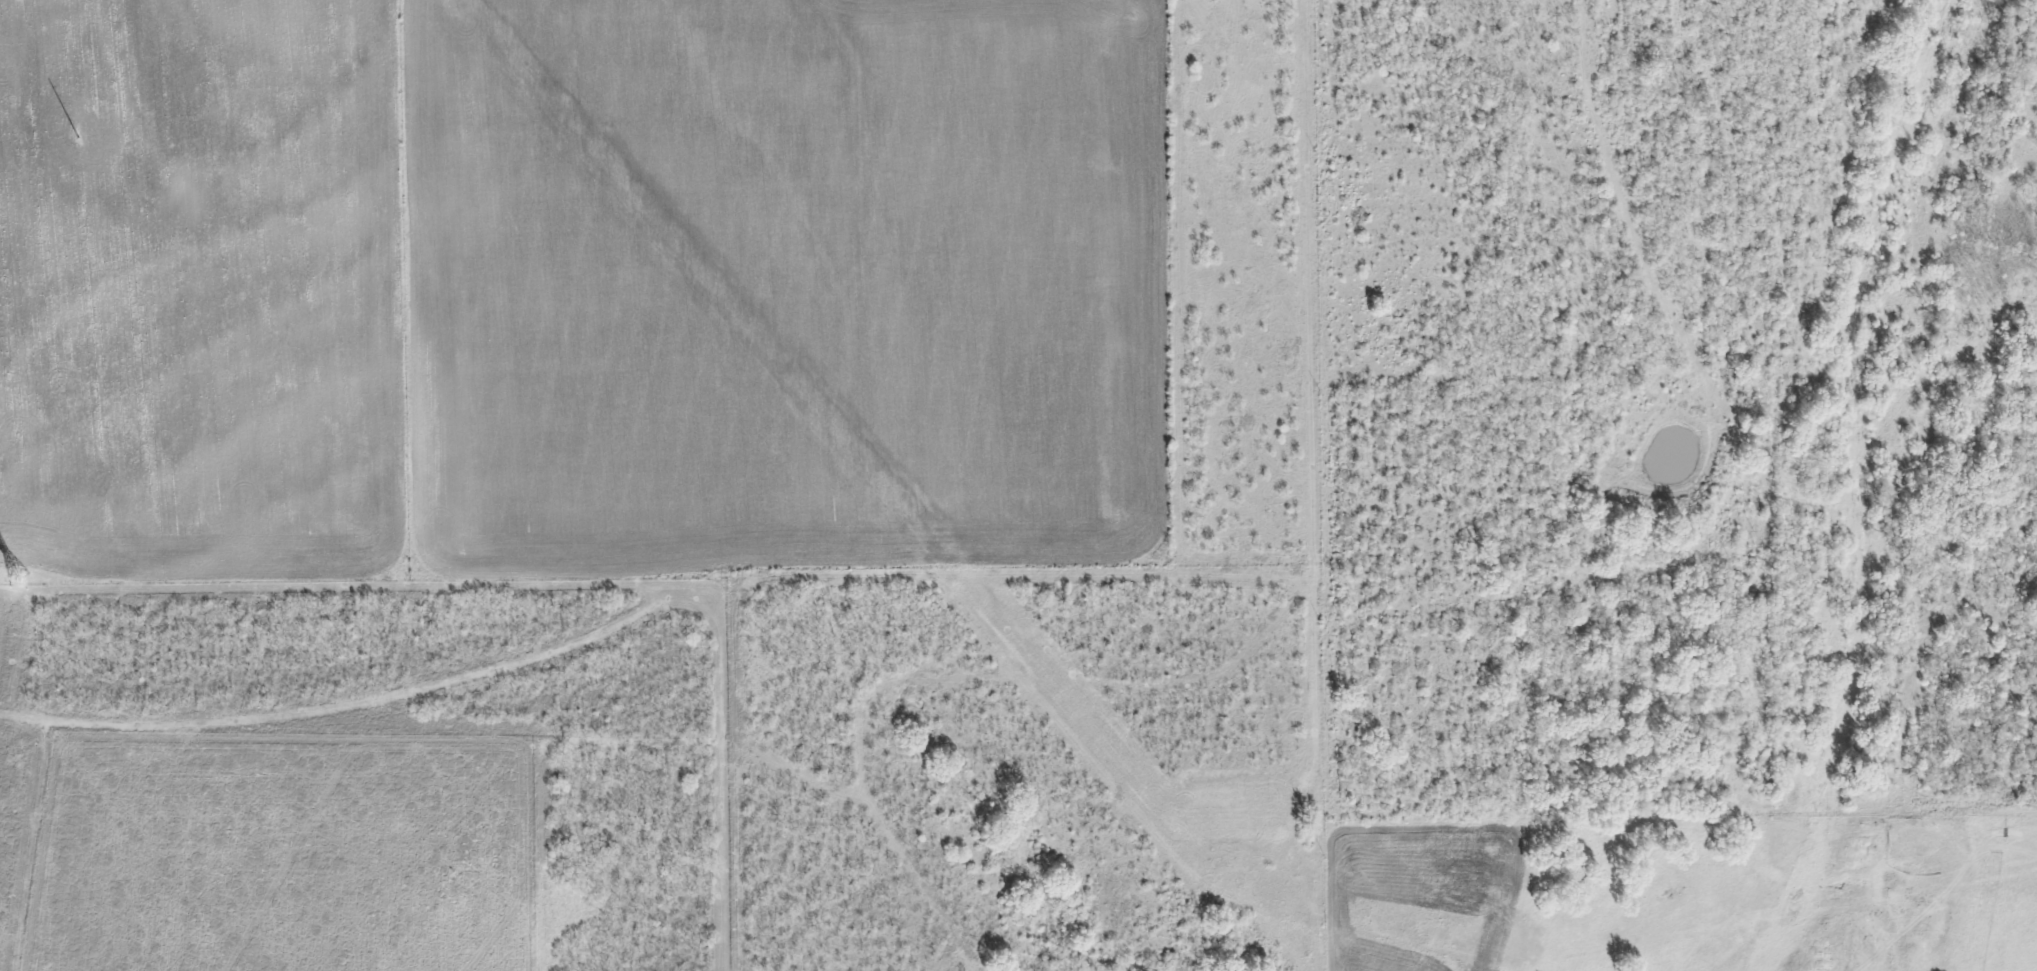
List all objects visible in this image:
road: (1661, 288)
power tower: (21, 579)

